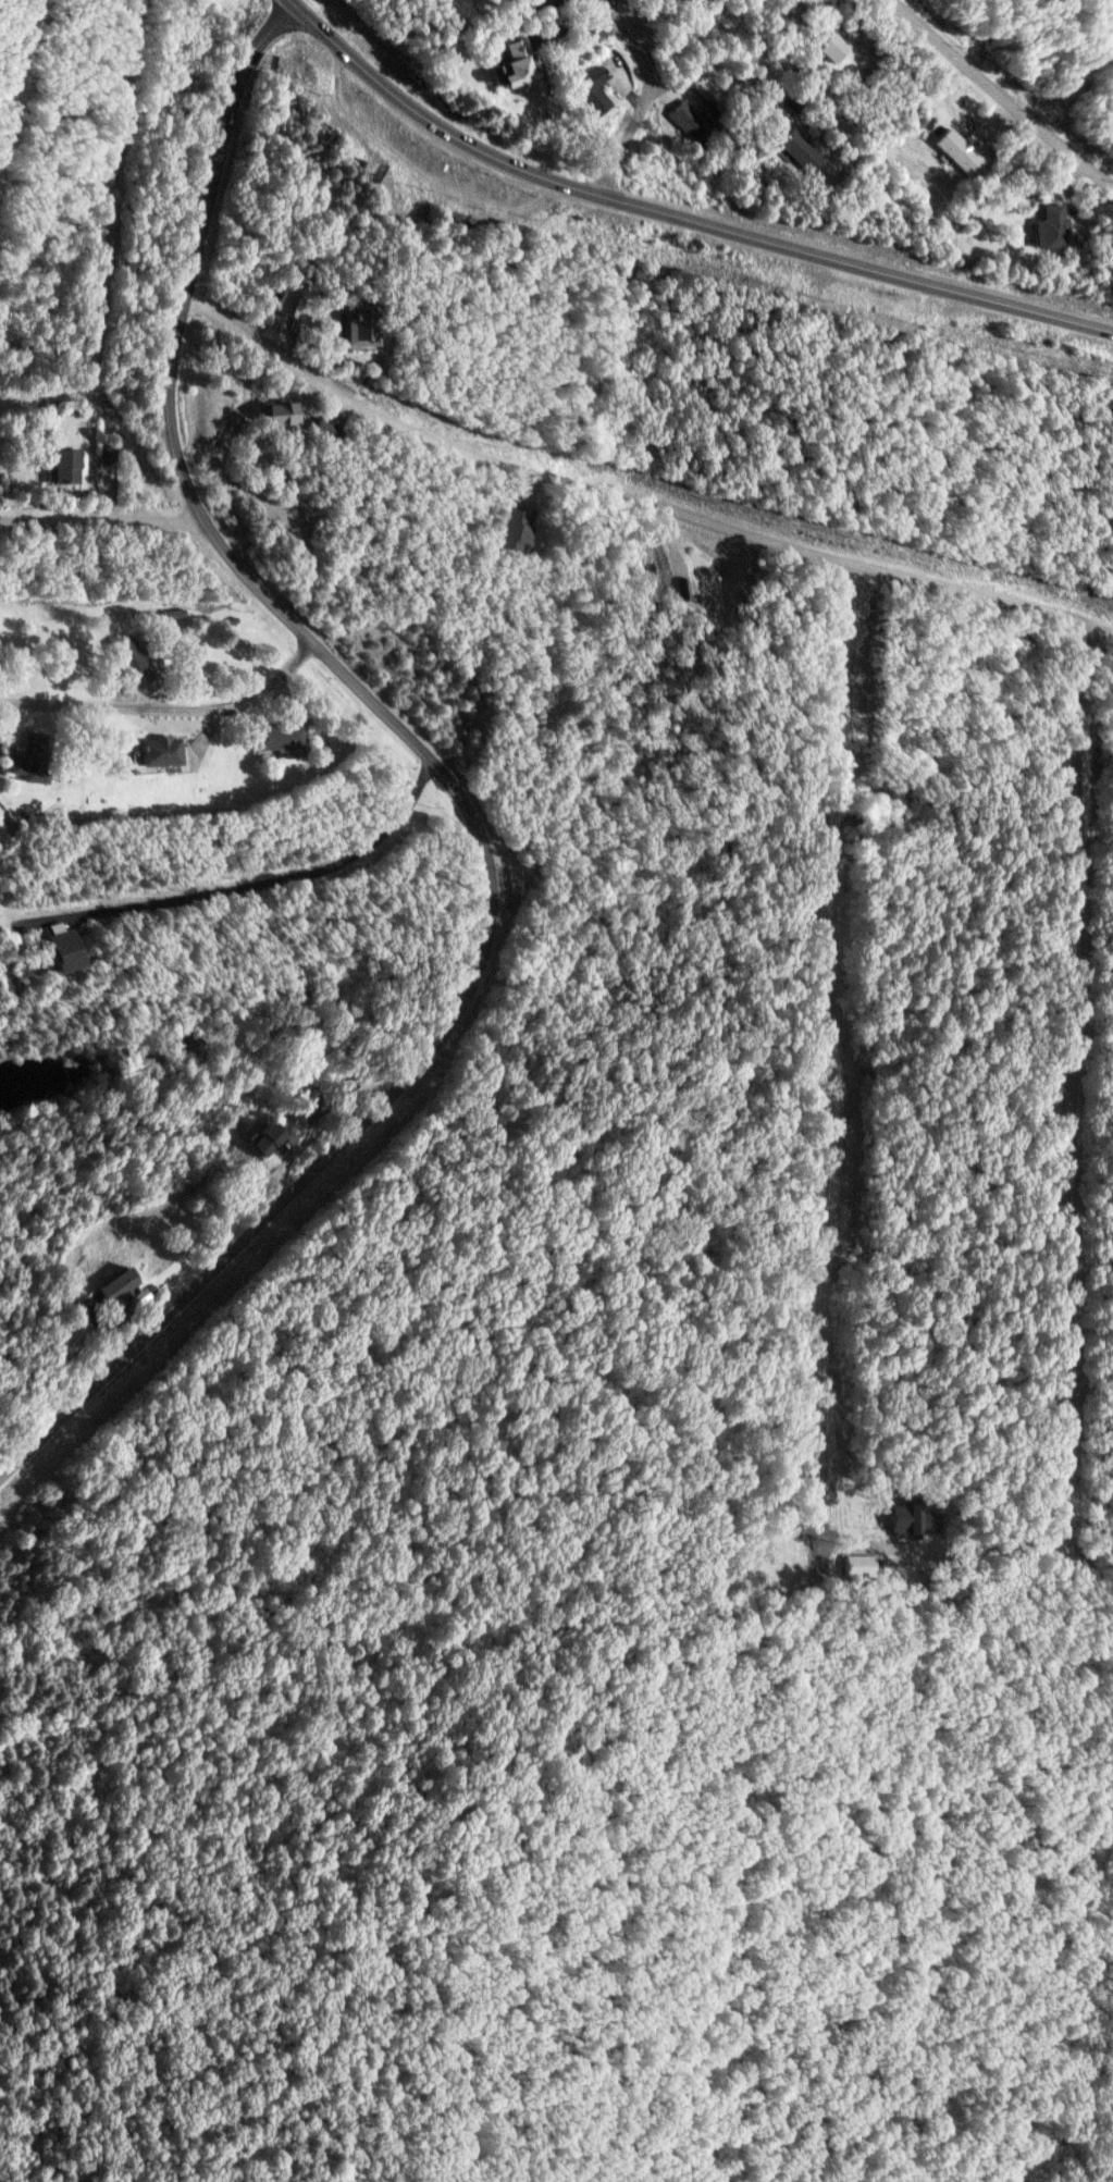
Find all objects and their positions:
road: (602, 1)
road: (8, 2)
building: (827, 47)
building: (508, 62)
building: (585, 90)
road: (22, 96)
road: (647, 96)
road: (1001, 96)
building: (688, 119)
building: (796, 150)
building: (953, 151)
road: (677, 215)
building: (1044, 227)
building: (285, 297)
building: (356, 326)
building: (271, 412)
building: (321, 429)
building: (59, 466)
road: (632, 498)
road: (102, 522)
building: (514, 530)
building: (121, 654)
road: (169, 712)
building: (273, 737)
building: (154, 752)
building: (17, 766)
road: (448, 782)
road: (260, 882)
building: (53, 949)
road: (844, 1057)
road: (1075, 1076)
building: (255, 1137)
building: (111, 1287)
building: (65, 1339)
building: (858, 1565)

